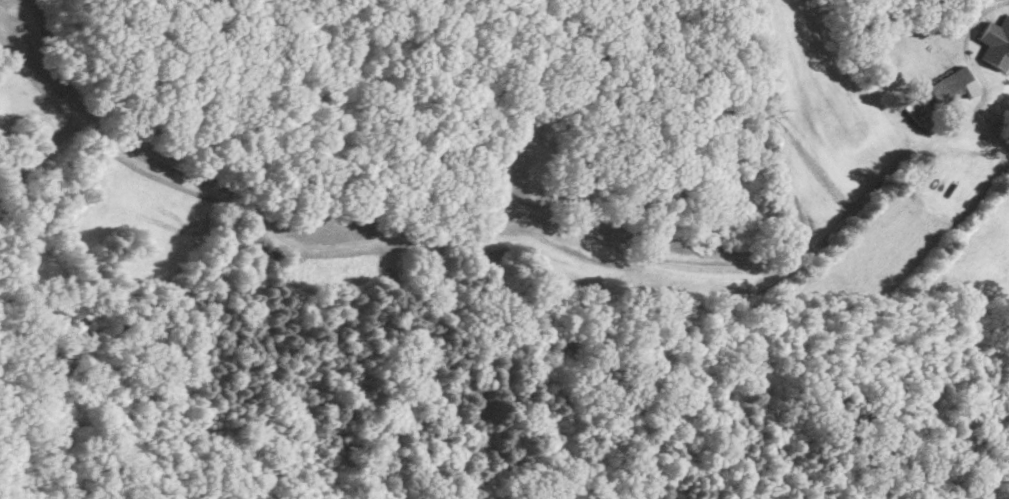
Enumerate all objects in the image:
road: (985, 2)
building: (996, 43)
building: (951, 85)
building: (917, 111)
road: (808, 253)

